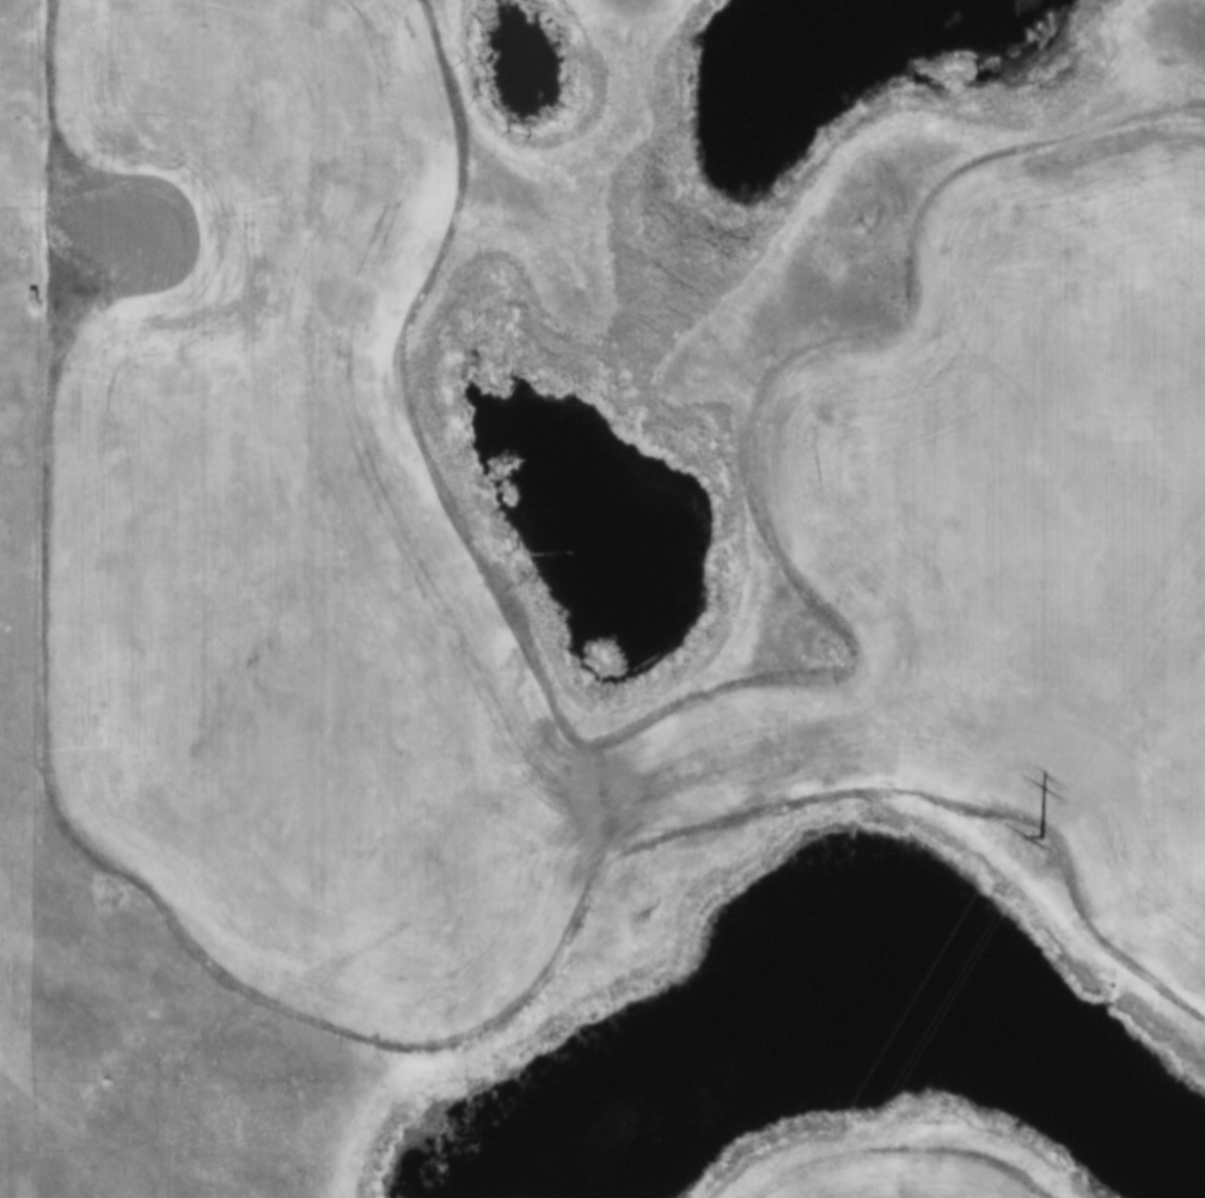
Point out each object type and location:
power tower: (1032, 819)

